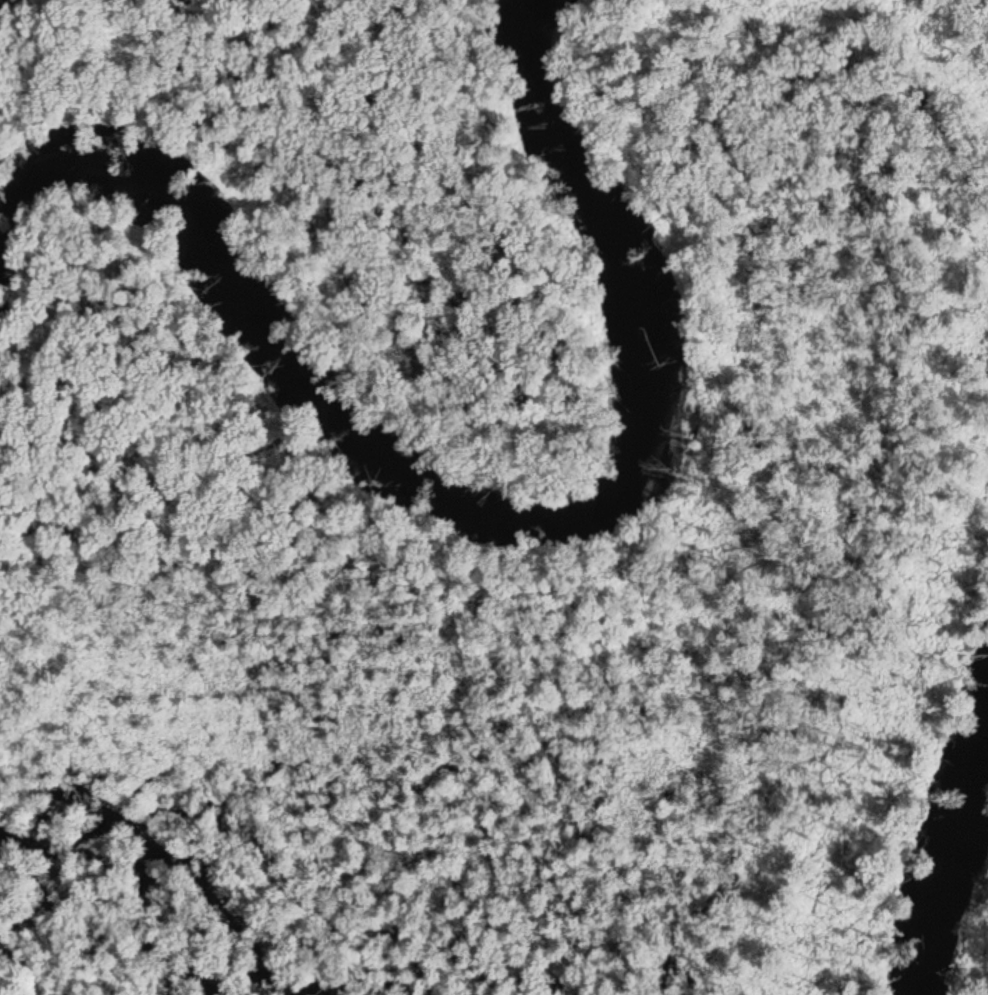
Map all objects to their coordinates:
river: (471, 513)
river: (940, 869)

